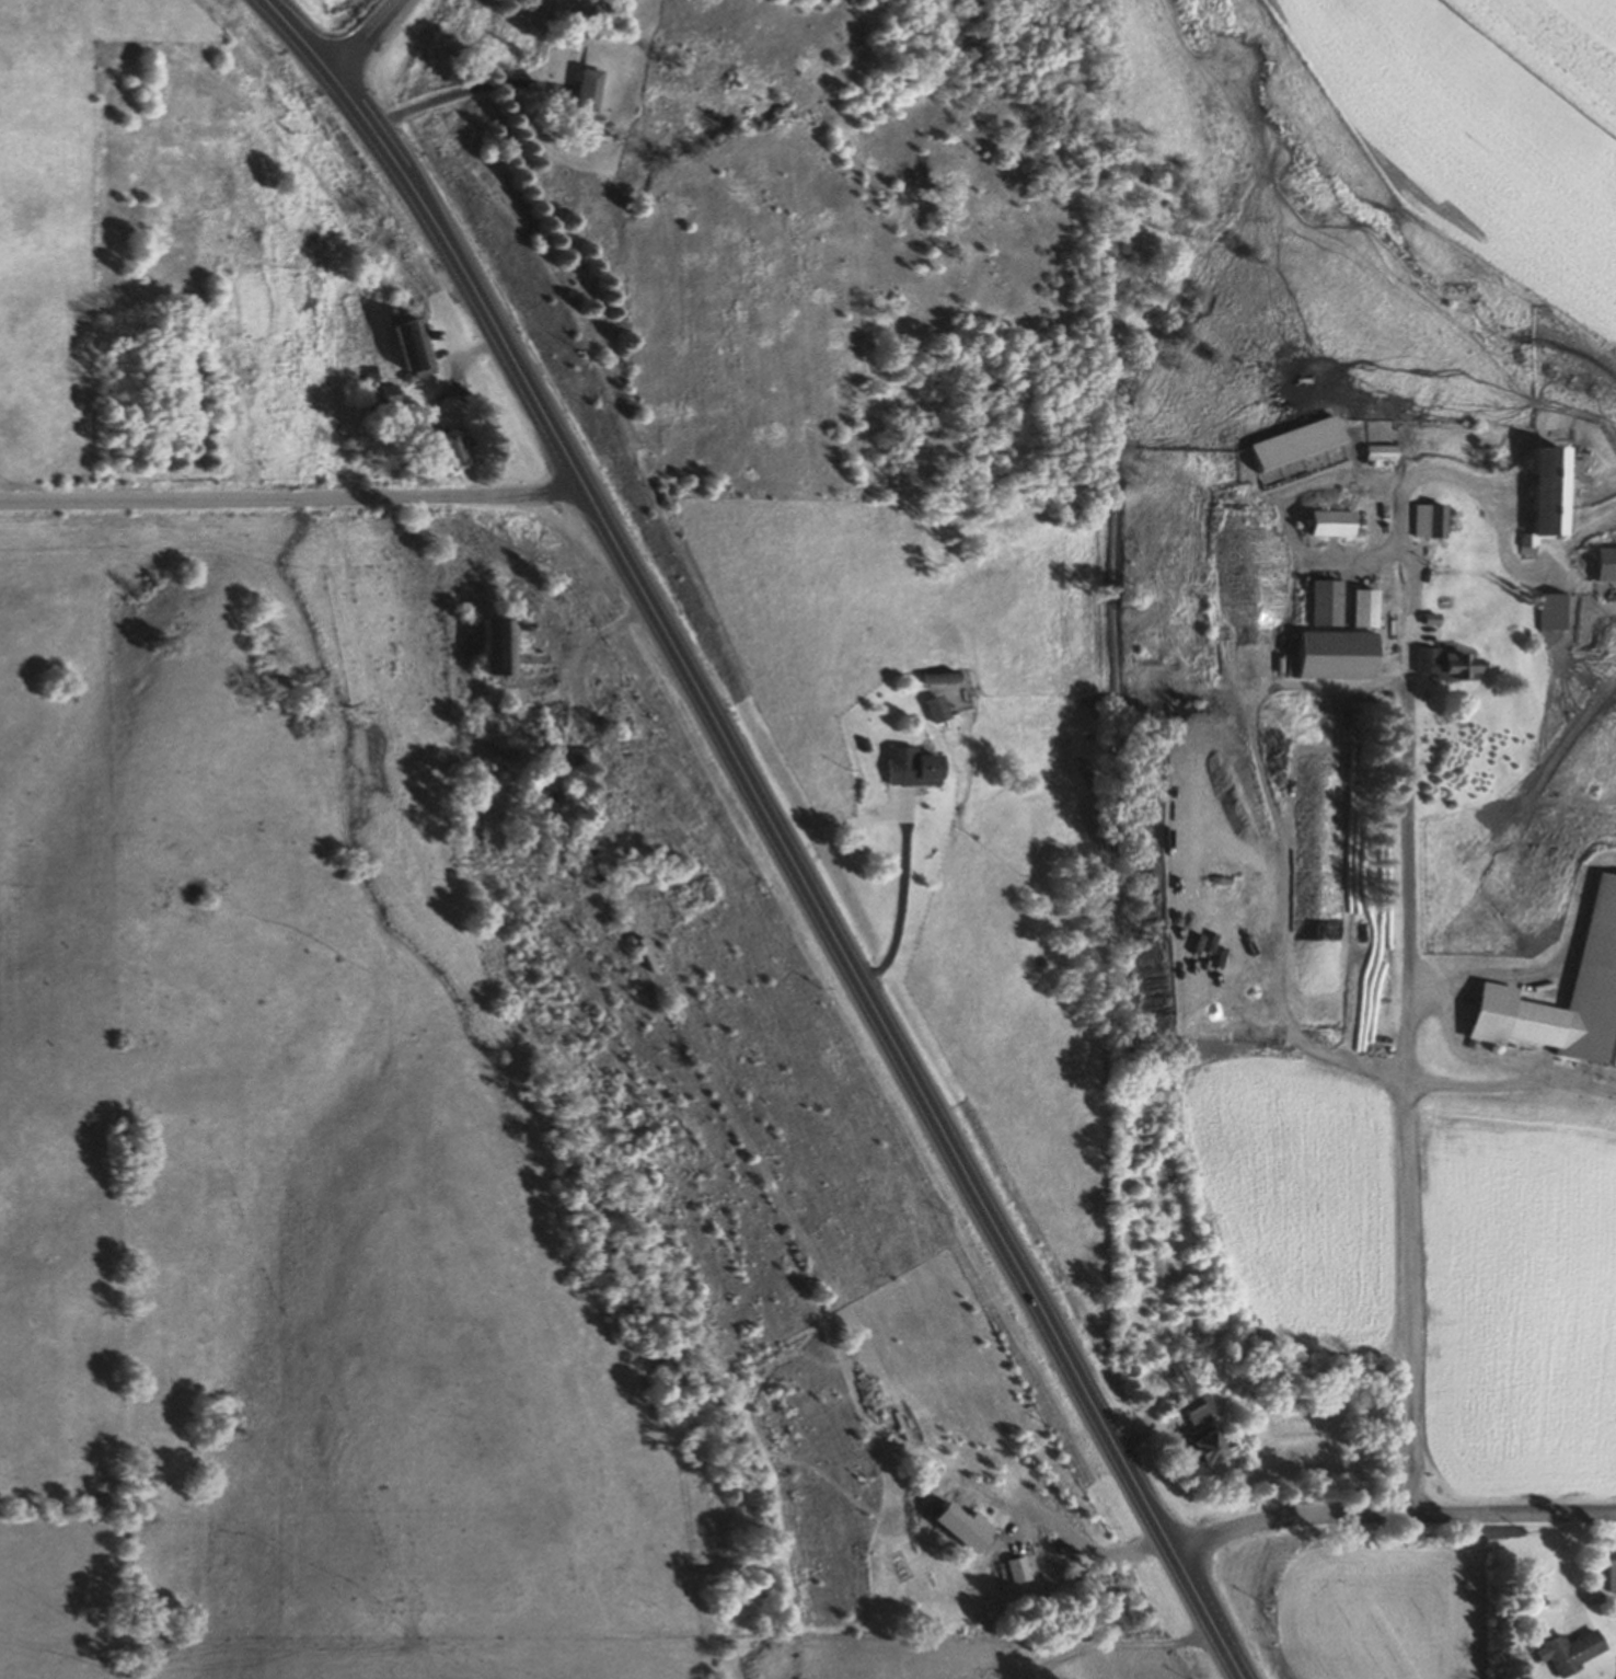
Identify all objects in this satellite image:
road: (360, 34)
building: (589, 85)
road: (470, 90)
building: (413, 347)
road: (458, 363)
building: (370, 373)
building: (388, 394)
building: (1296, 440)
building: (448, 444)
building: (1549, 495)
road: (293, 497)
building: (1432, 518)
building: (1331, 521)
road: (1584, 539)
road: (1343, 556)
building: (1607, 562)
road: (1271, 582)
building: (1326, 600)
building: (1364, 607)
building: (1555, 610)
building: (1433, 618)
road: (596, 633)
building: (497, 644)
building: (1447, 664)
building: (938, 675)
building: (935, 706)
building: (504, 708)
building: (864, 745)
building: (579, 754)
building: (911, 766)
building: (463, 827)
road: (772, 827)
road: (1406, 888)
road: (902, 895)
building: (1199, 1410)
building: (1209, 1447)
road: (1392, 1511)
road: (1563, 1571)
building: (1612, 1574)
building: (1569, 1649)

